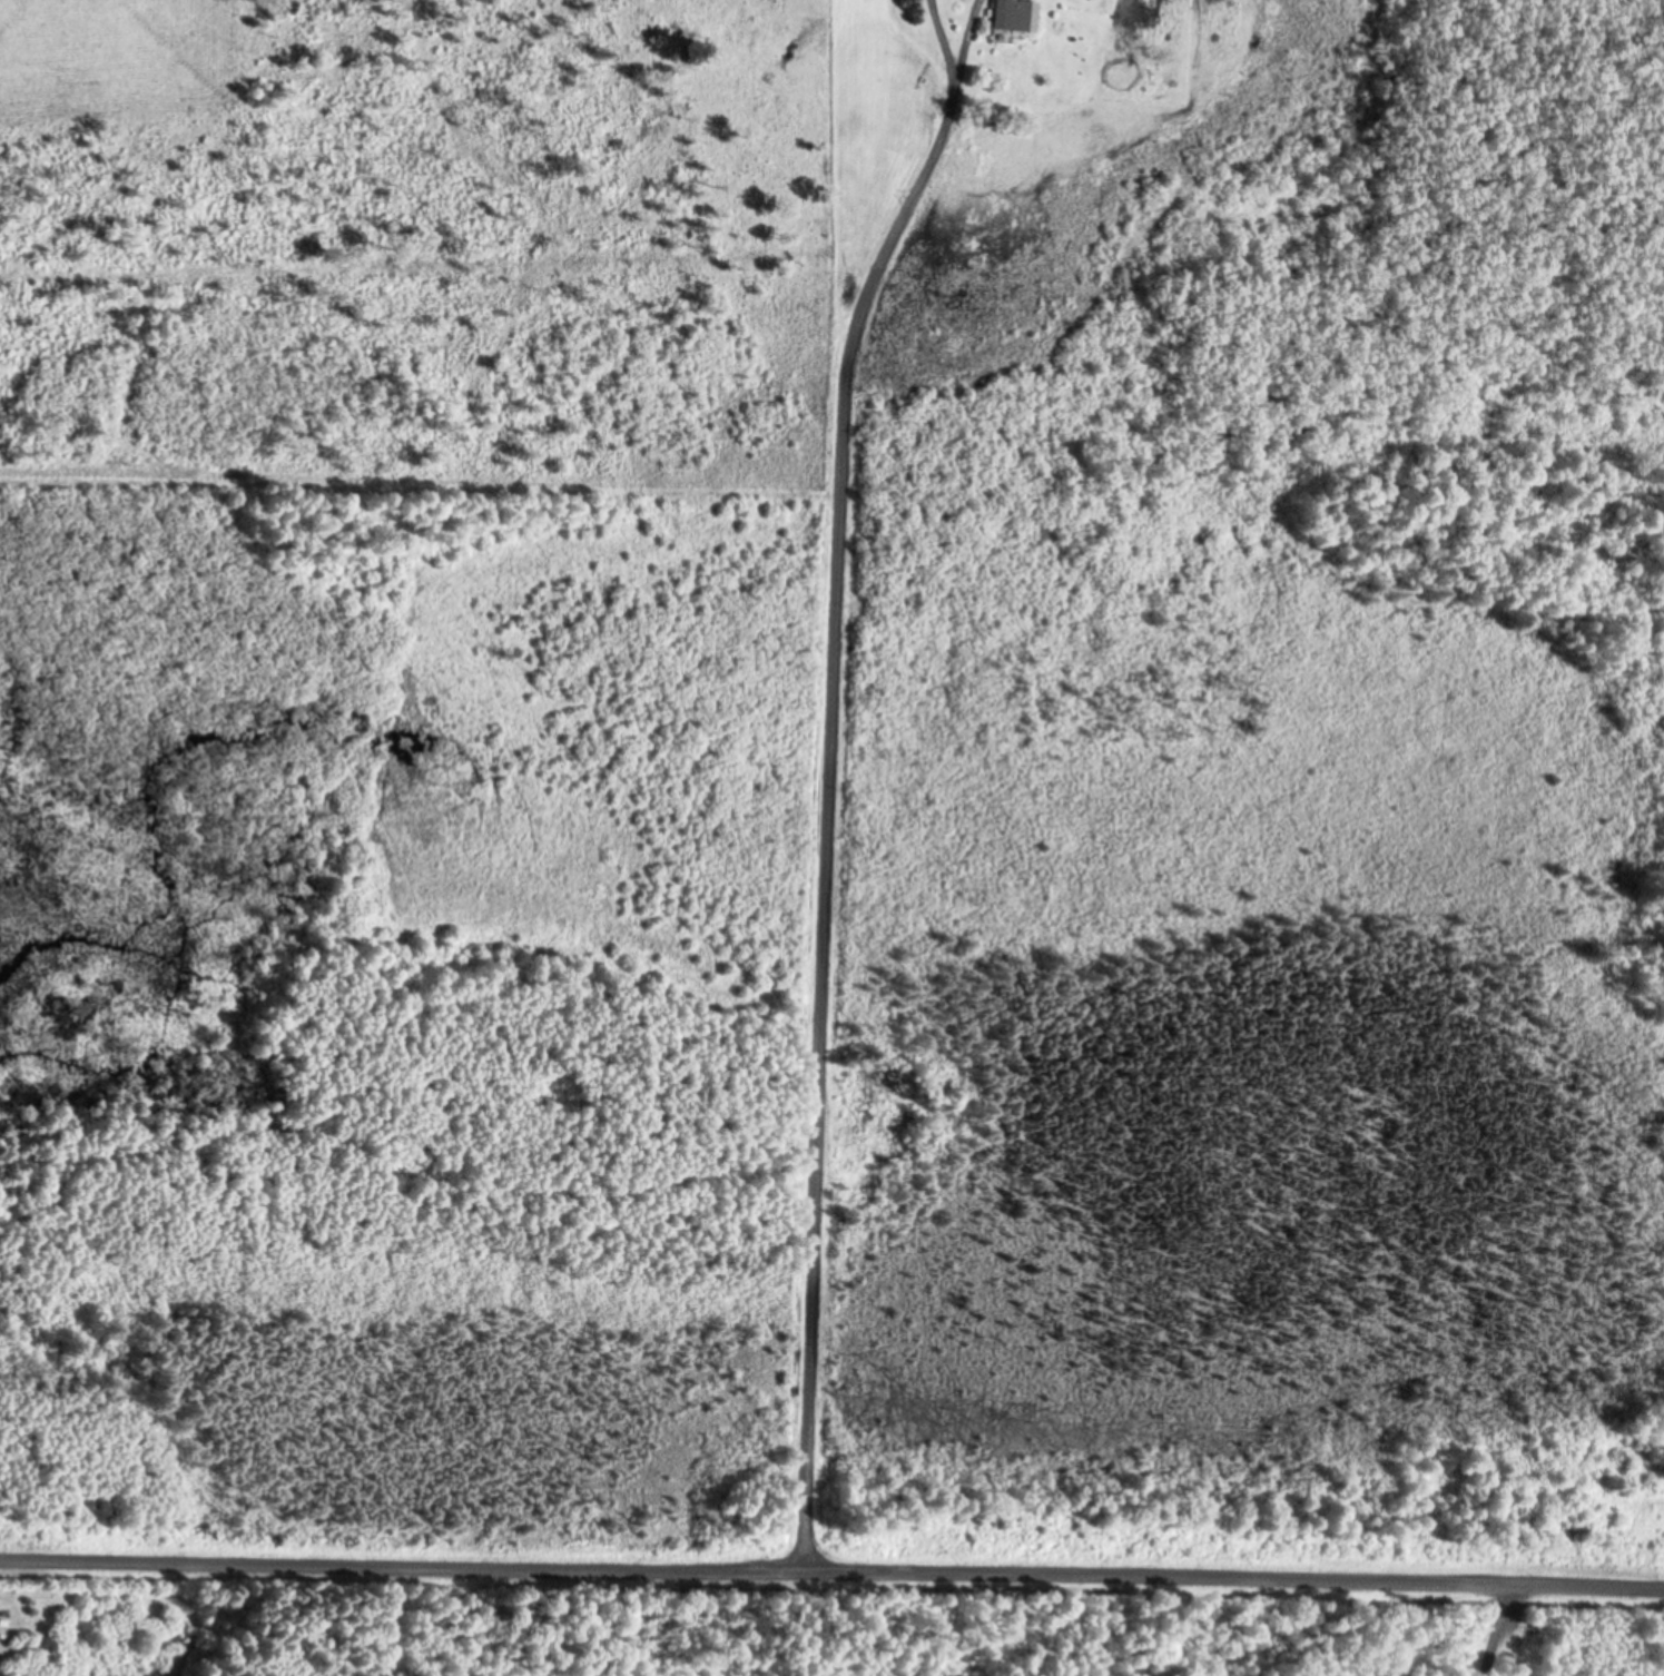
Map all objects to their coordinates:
building: (1018, 12)
road: (942, 134)
road: (838, 759)
road: (831, 1560)

